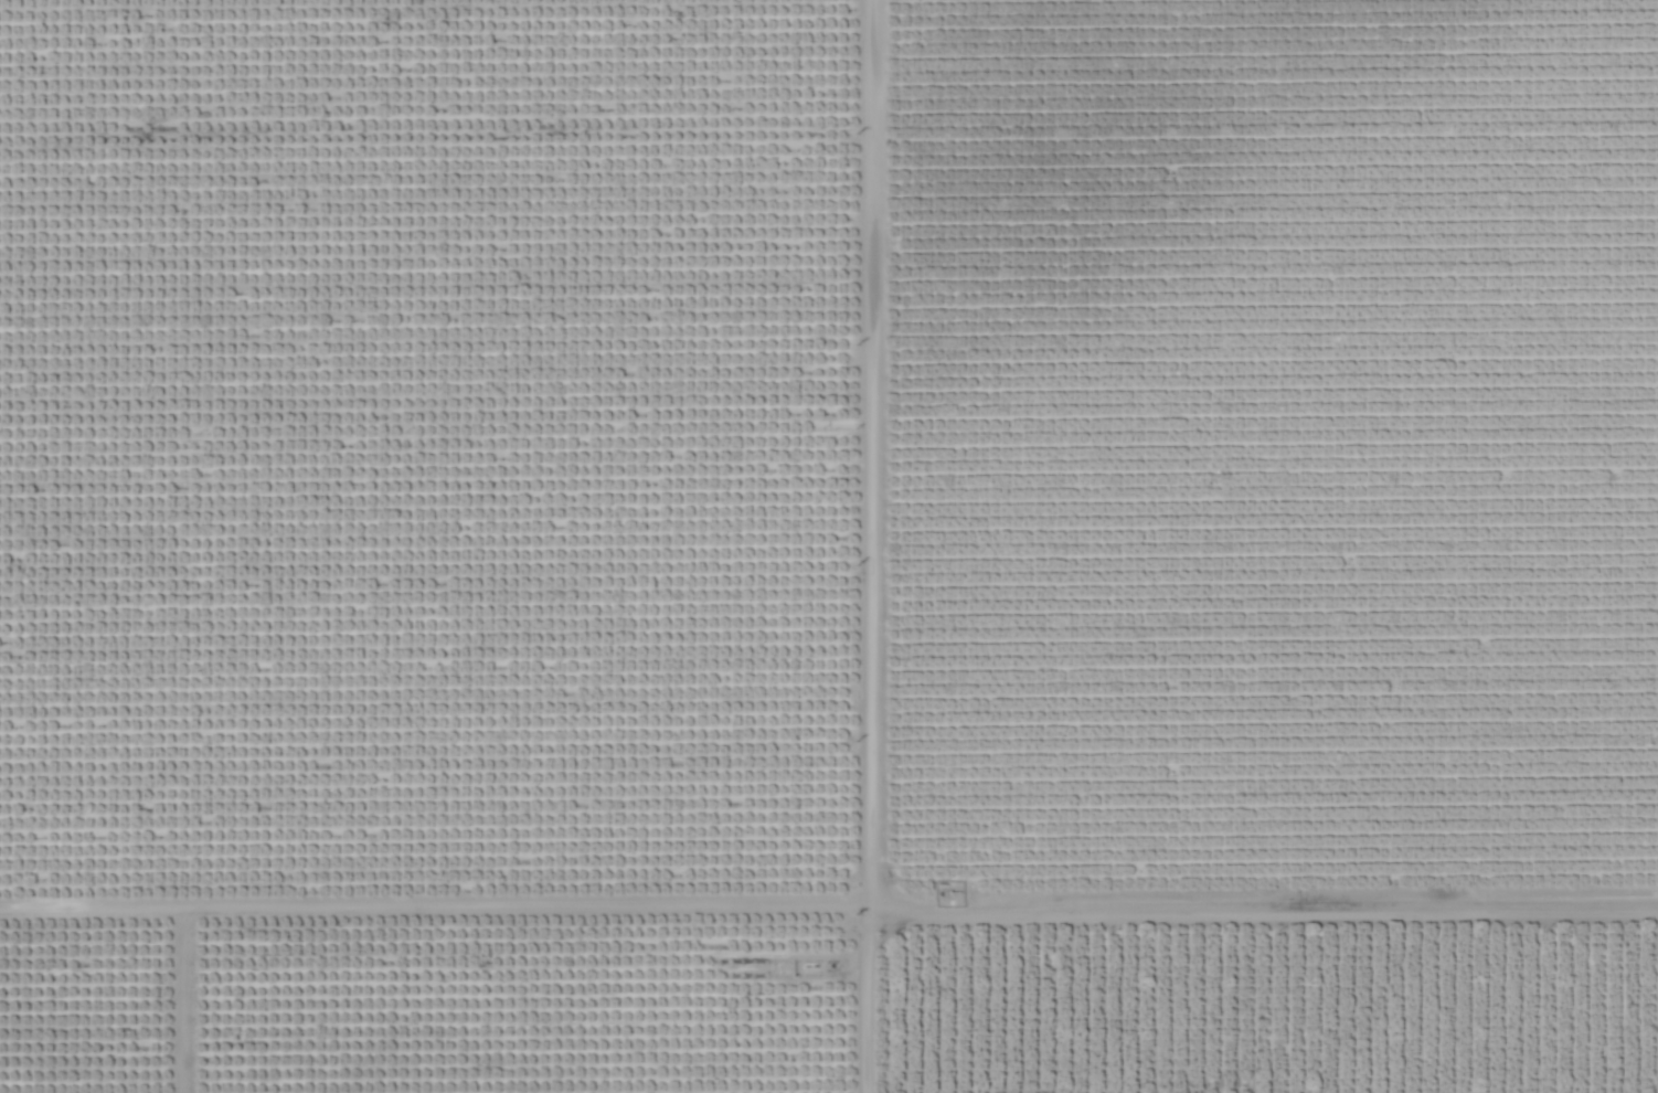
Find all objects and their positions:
road: (888, 545)
road: (829, 914)

